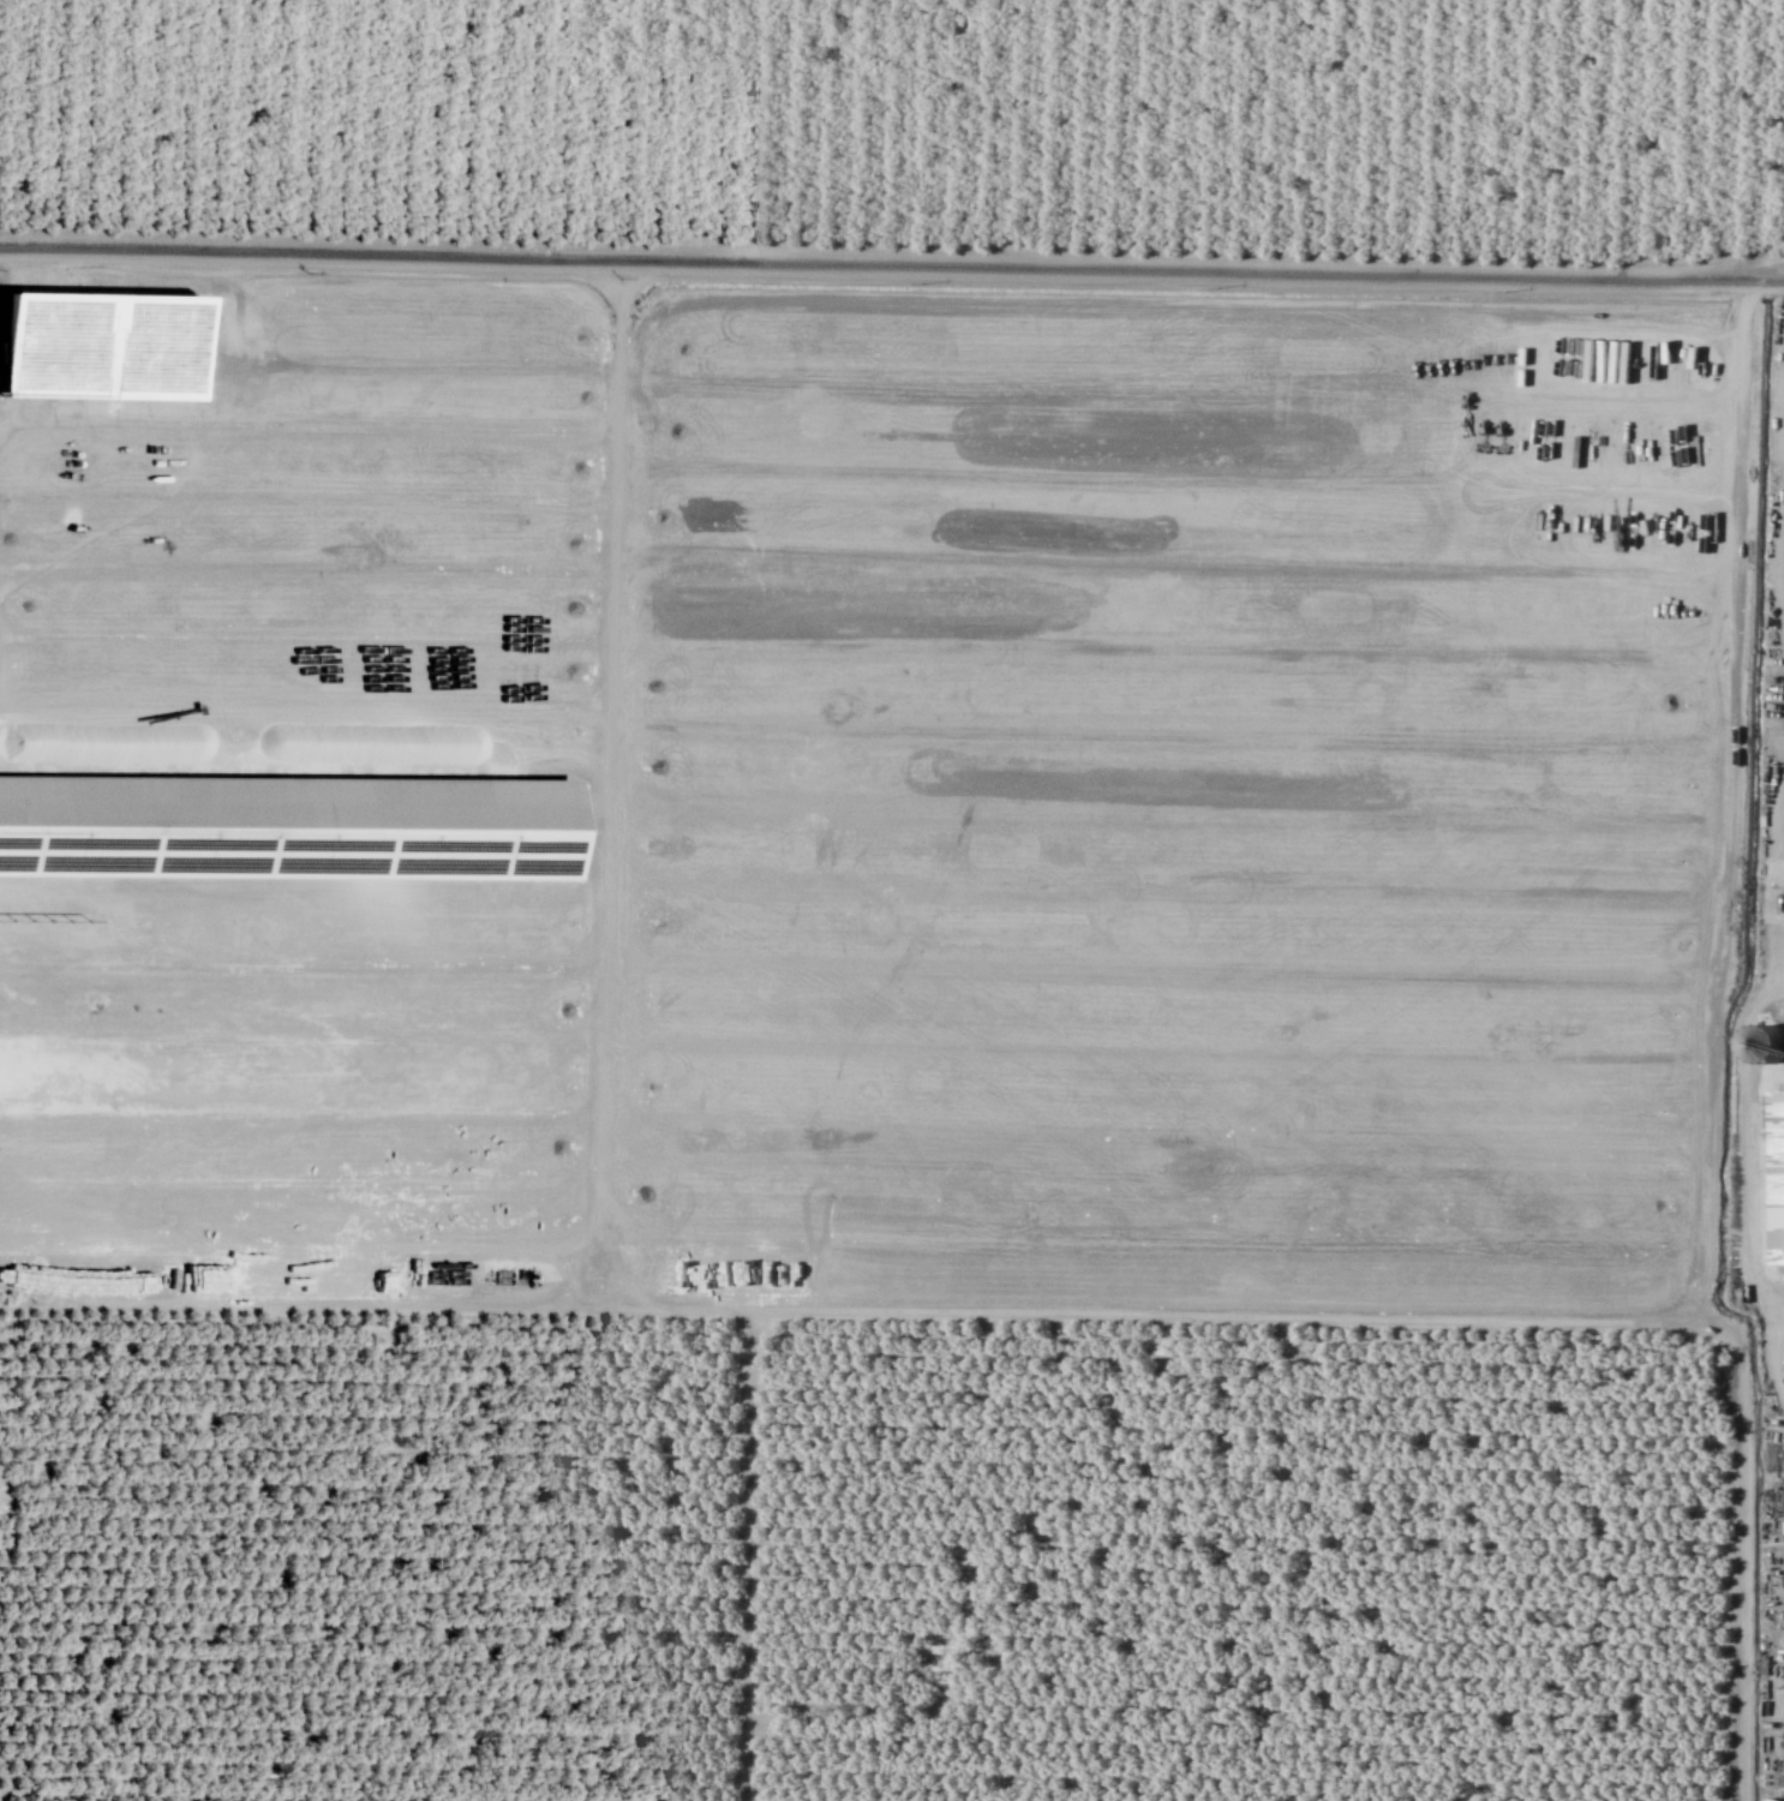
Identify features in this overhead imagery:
road: (891, 250)
road: (892, 264)
building: (94, 348)
road: (613, 514)
road: (305, 714)
road: (1729, 803)
road: (1767, 961)
road: (1767, 997)
road: (601, 1054)
building: (1773, 1172)
road: (840, 1311)
road: (1738, 1545)
road: (748, 1555)

